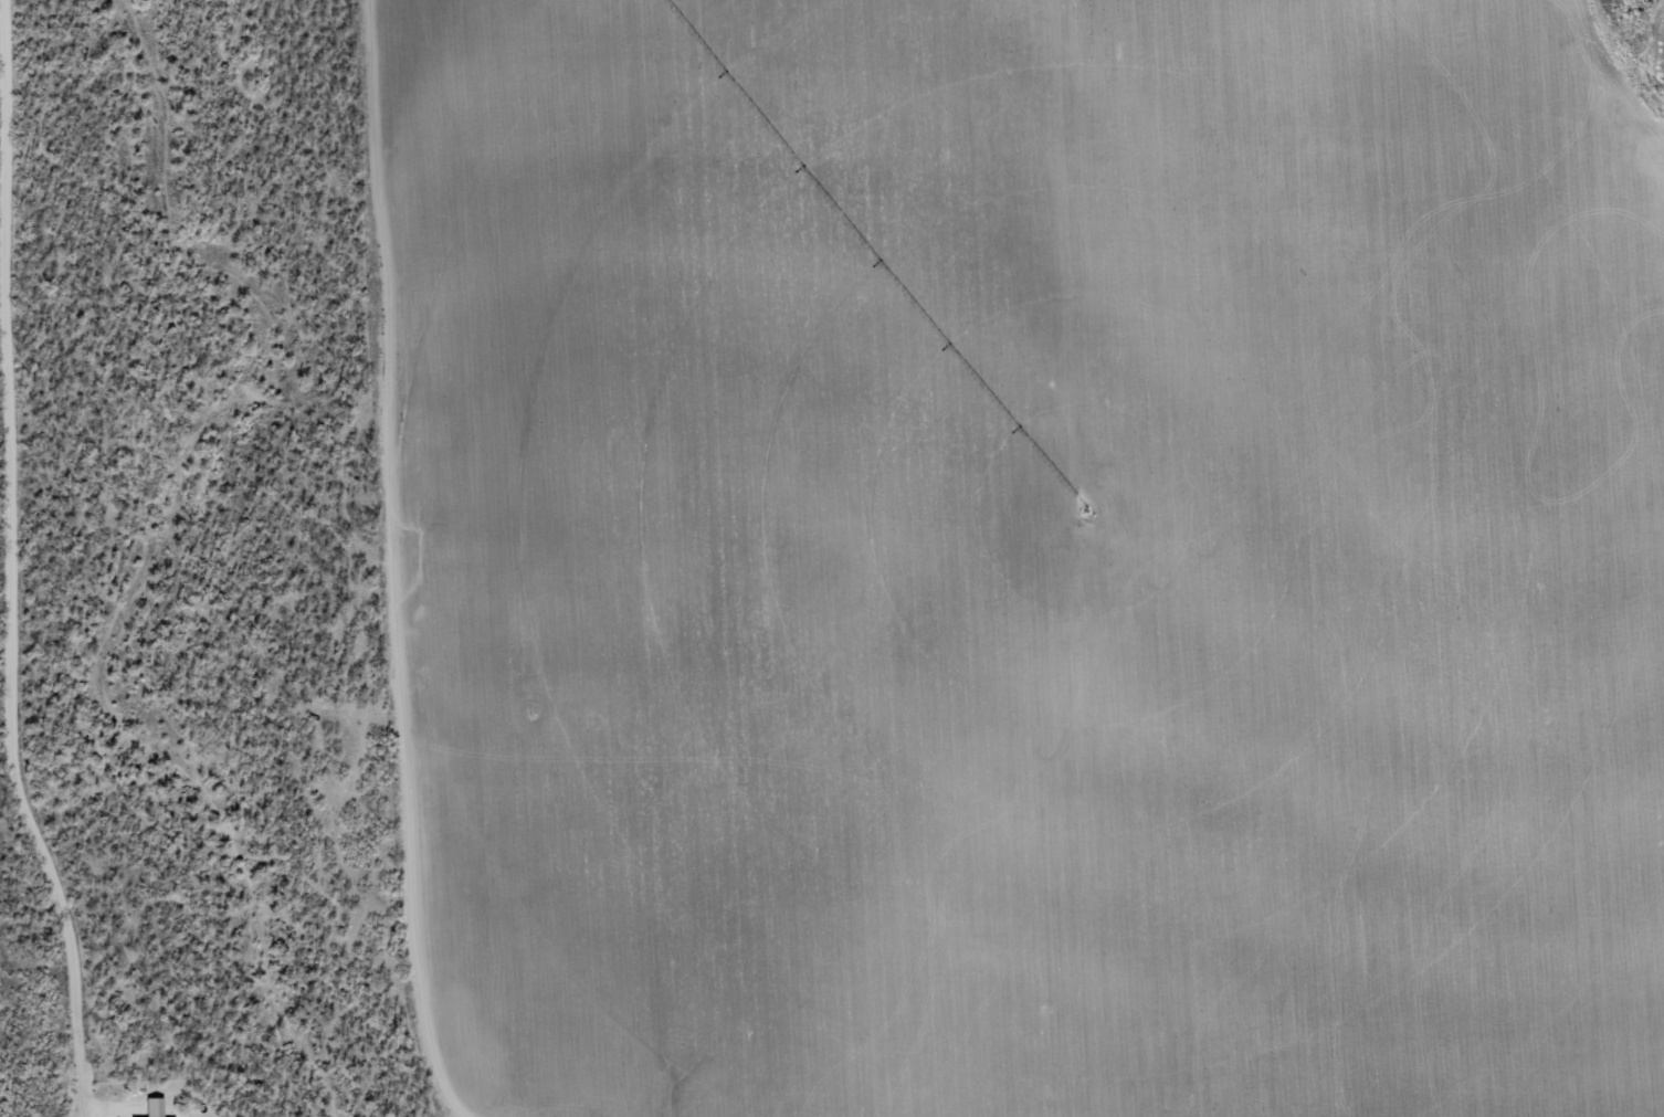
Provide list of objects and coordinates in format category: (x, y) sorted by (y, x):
building: (158, 1107)

